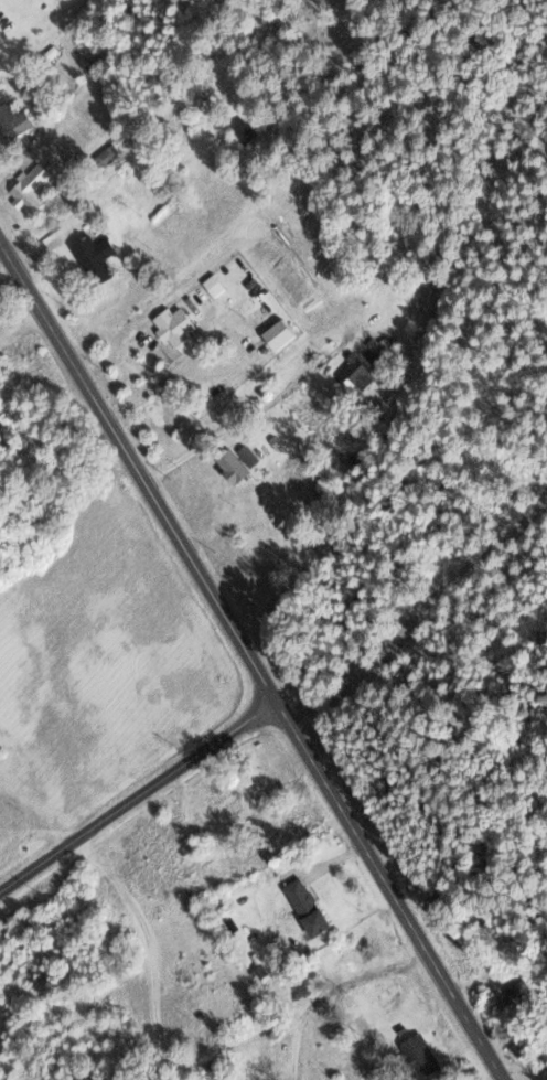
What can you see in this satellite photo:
building: (130, 10)
building: (199, 84)
building: (12, 120)
building: (242, 131)
building: (104, 157)
building: (26, 189)
building: (92, 257)
building: (212, 285)
building: (171, 325)
building: (276, 334)
building: (371, 351)
building: (352, 374)
building: (36, 439)
building: (228, 466)
building: (282, 469)
road: (253, 656)
road: (139, 794)
building: (302, 906)
building: (361, 947)
road: (153, 948)
road: (115, 958)
building: (191, 969)
road: (363, 977)
building: (515, 990)
building: (385, 994)
road: (352, 1035)
road: (239, 1042)
road: (298, 1047)
building: (416, 1057)
building: (213, 1069)

